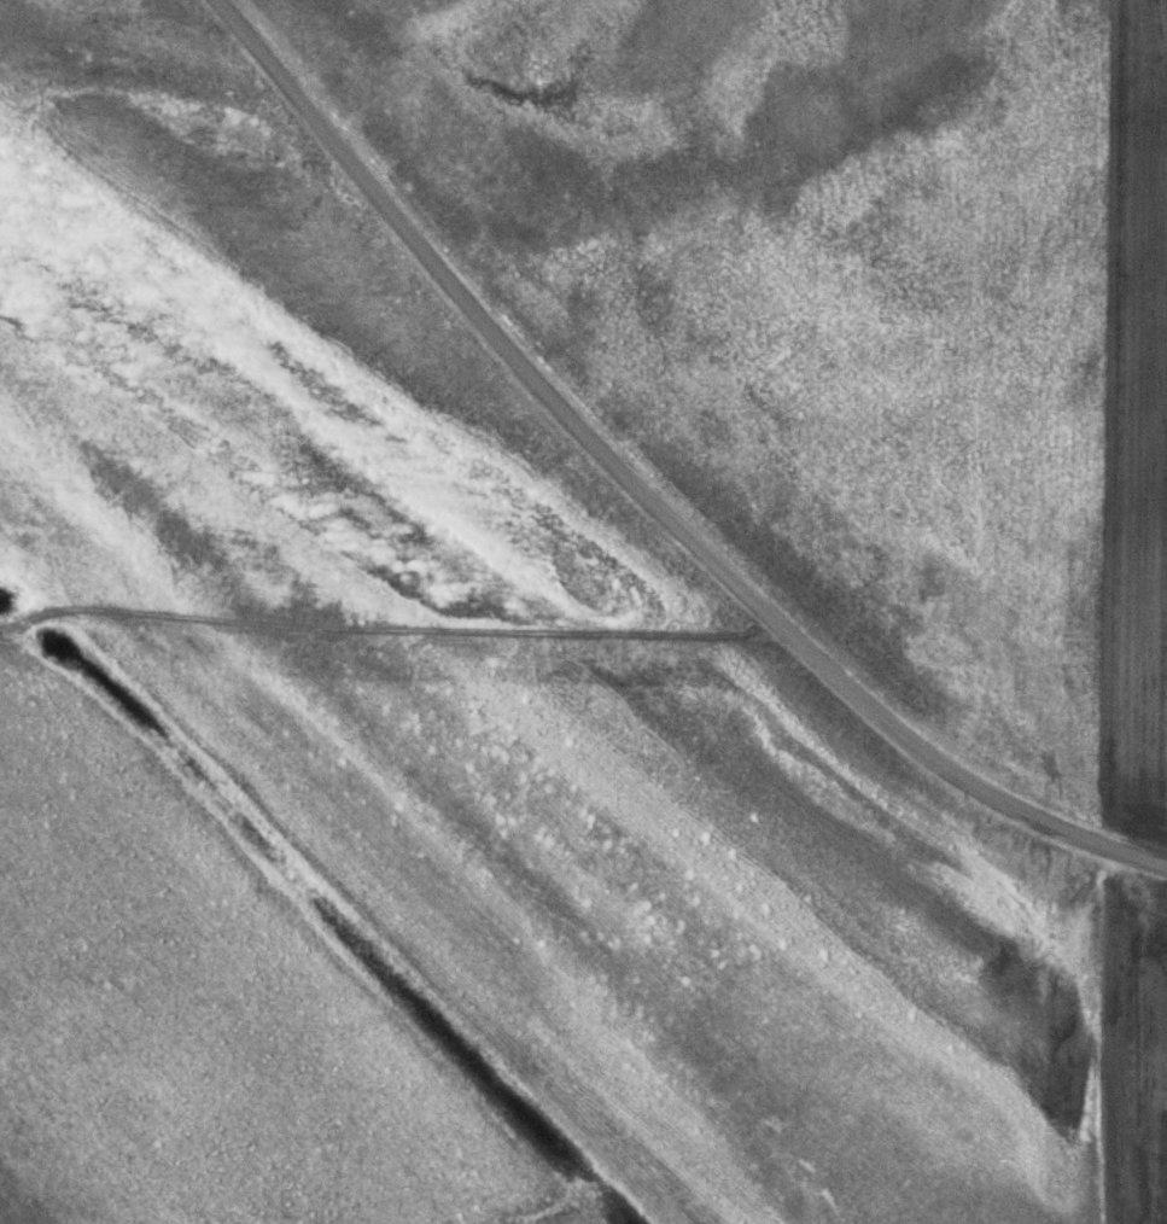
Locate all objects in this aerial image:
road: (648, 466)

